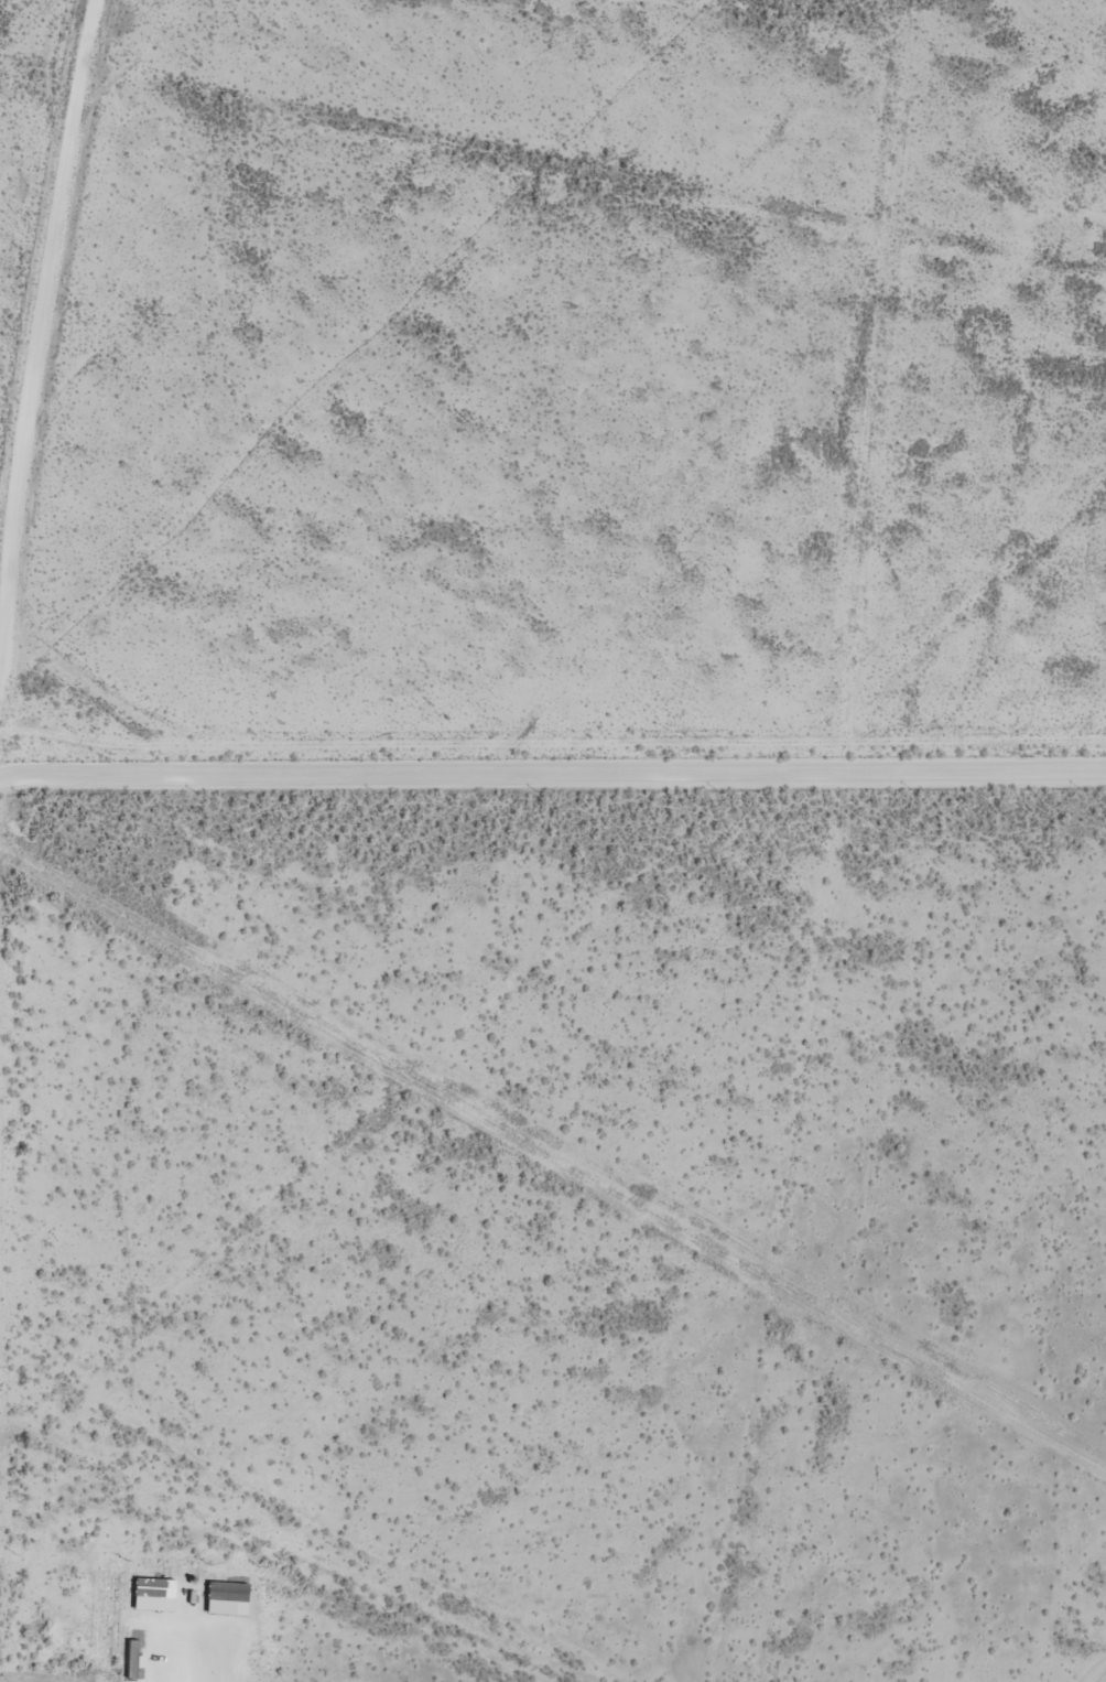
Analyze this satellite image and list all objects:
road: (28, 214)
road: (551, 704)

